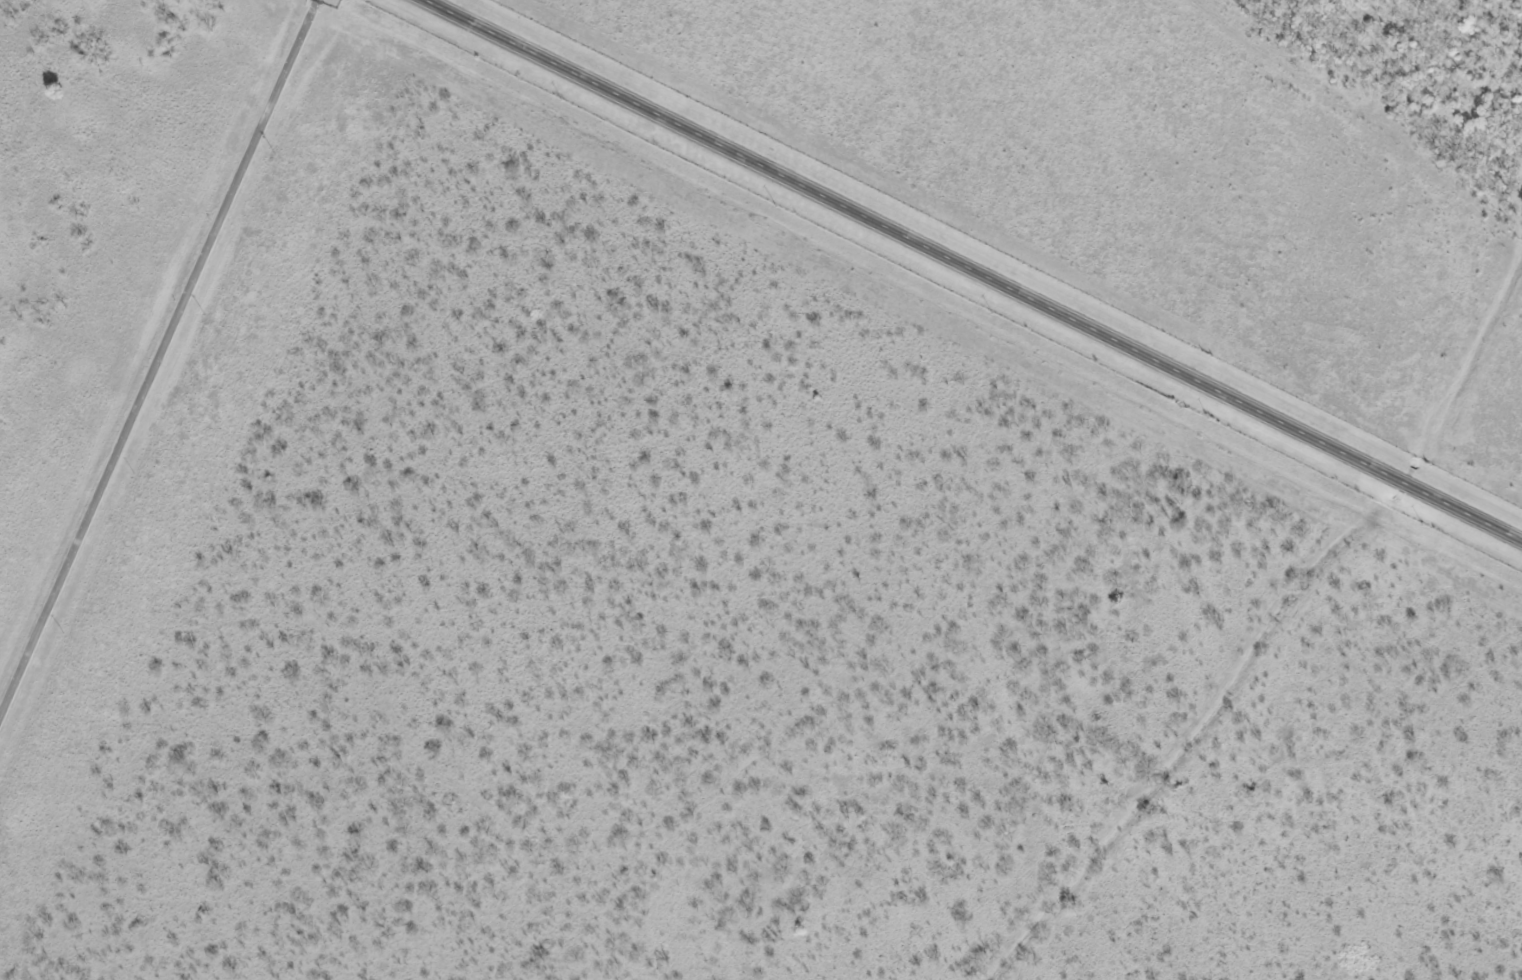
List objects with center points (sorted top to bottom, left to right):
road: (975, 269)
road: (157, 354)

